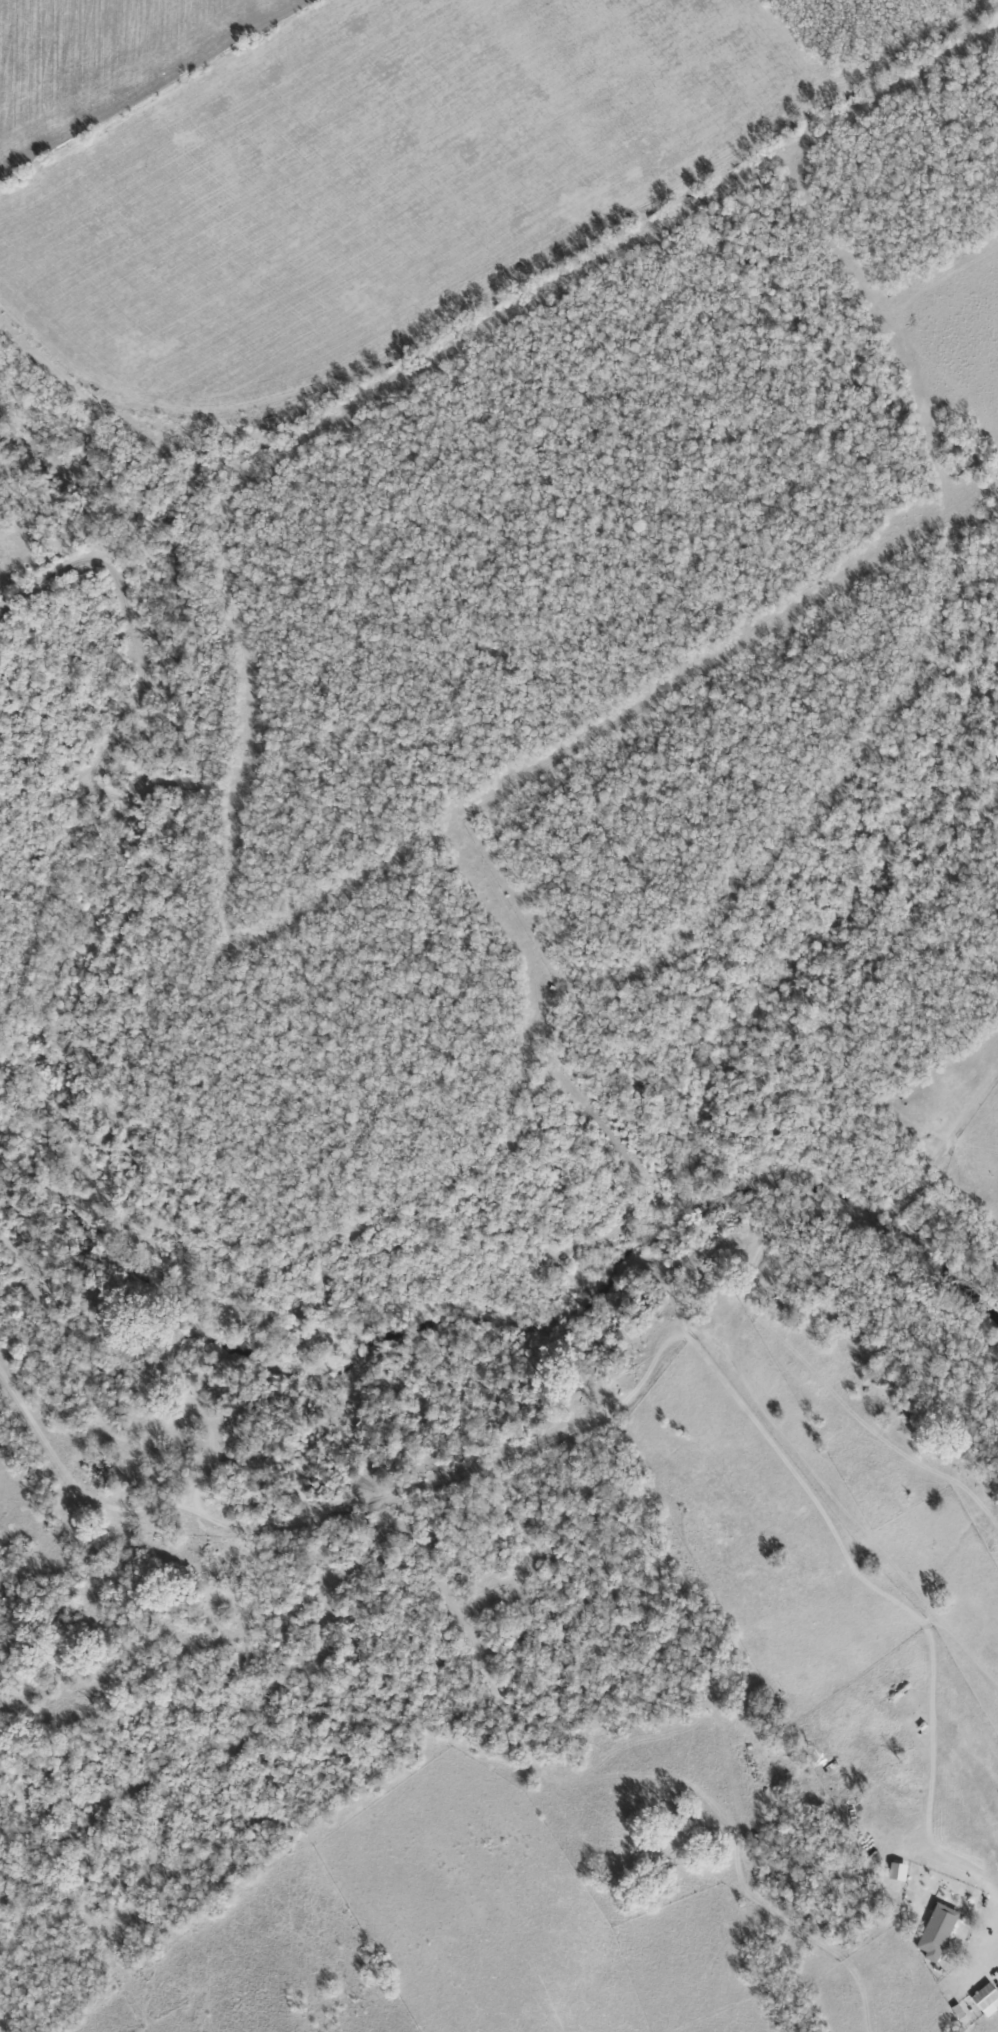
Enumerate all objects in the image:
building: (935, 1932)
building: (984, 2000)

